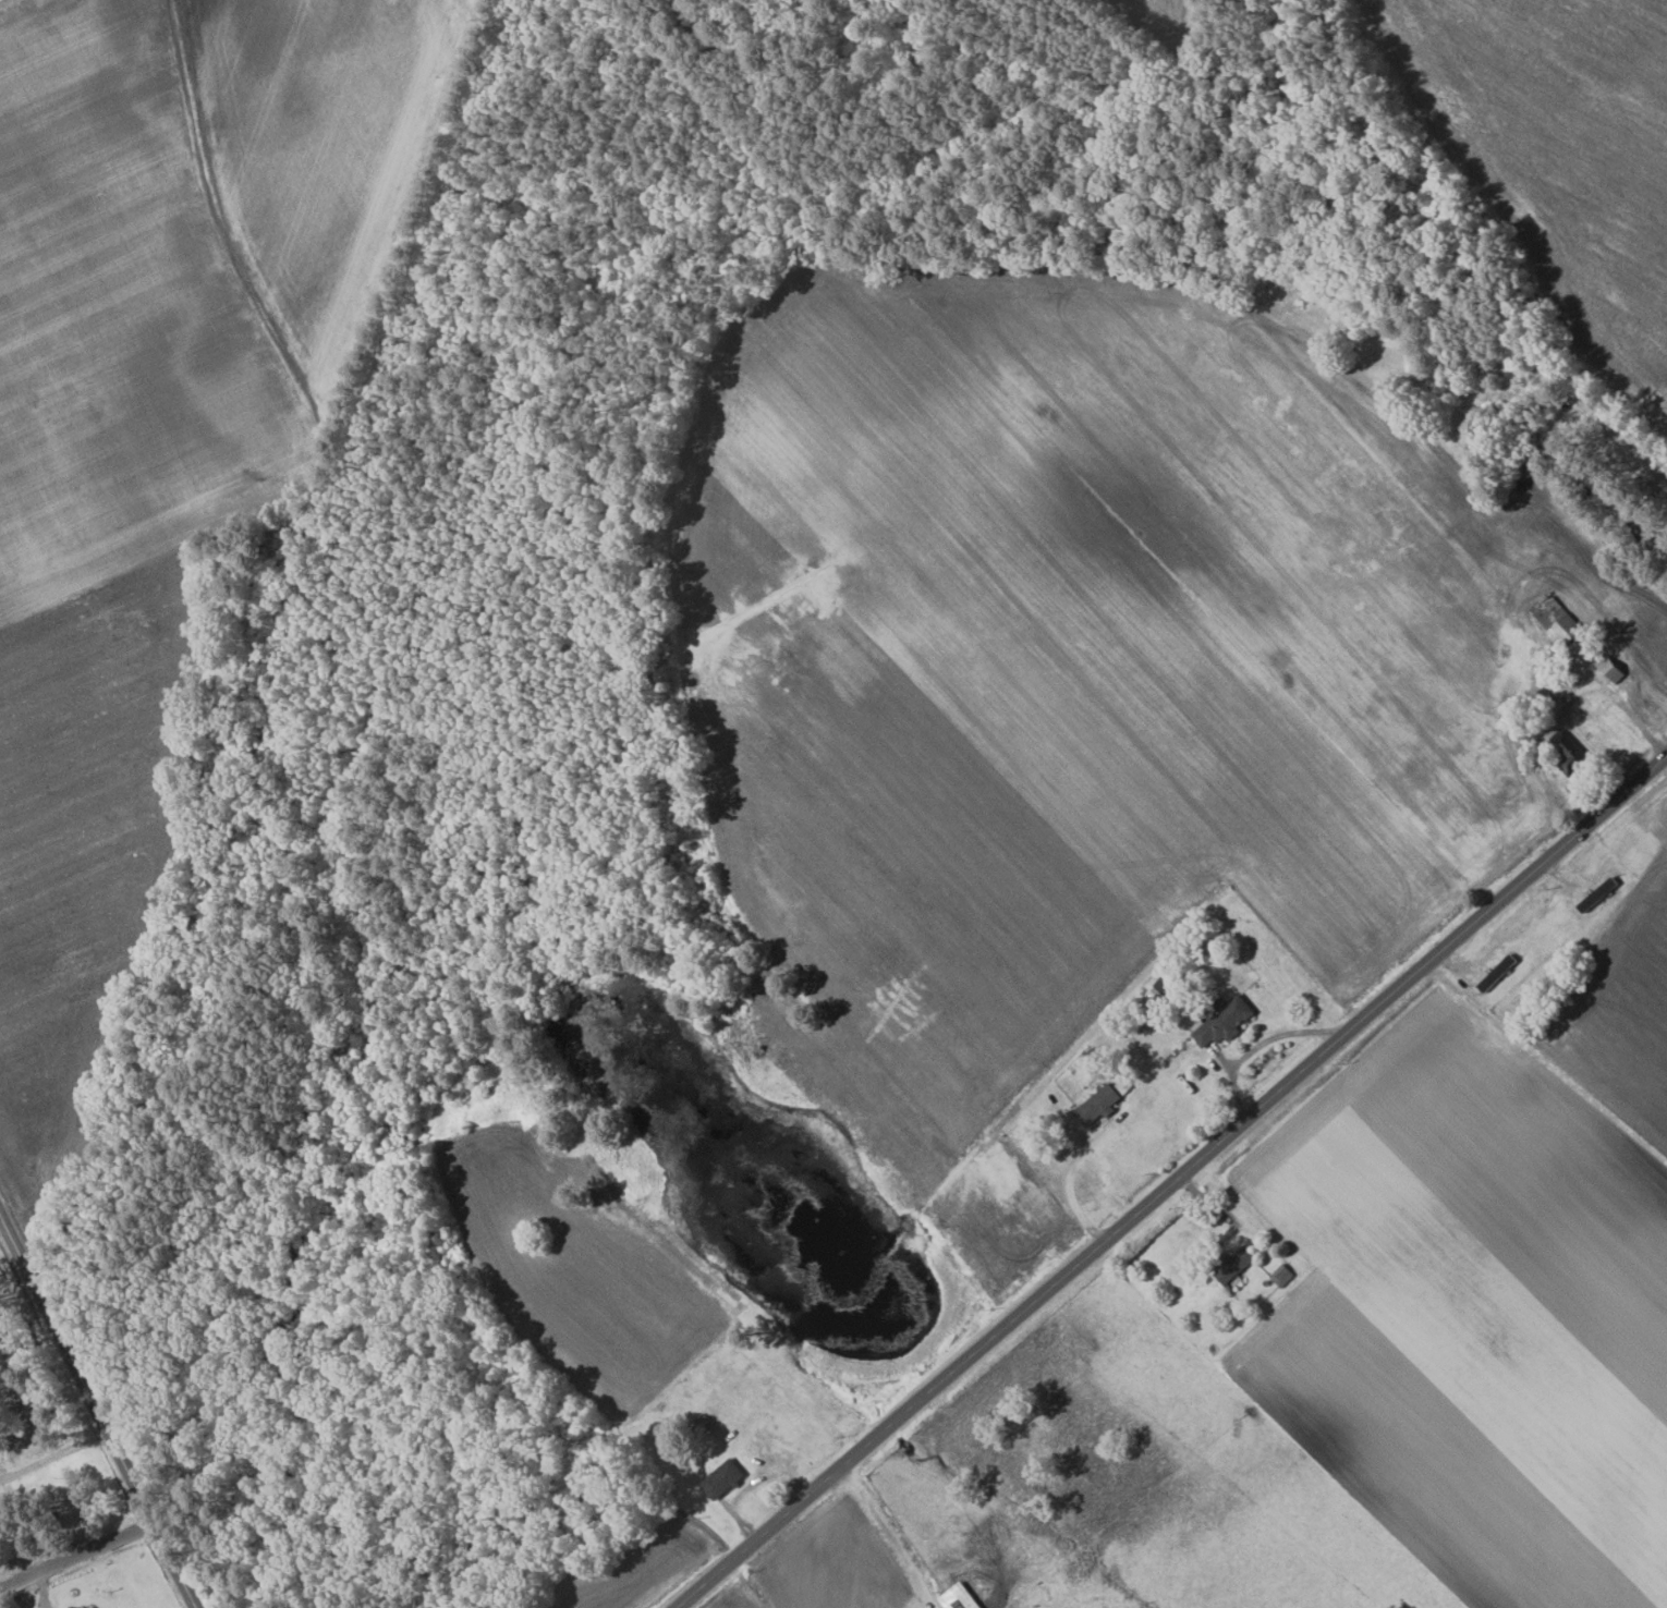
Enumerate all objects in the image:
building: (1557, 621)
building: (1617, 667)
road: (1575, 694)
building: (1567, 756)
building: (1225, 1022)
building: (1100, 1104)
road: (1173, 1183)
road: (1062, 1184)
building: (1237, 1265)
road: (95, 1411)
road: (52, 1455)
building: (723, 1478)
road: (889, 1536)
road: (75, 1560)
building: (960, 1597)
building: (94, 1607)

